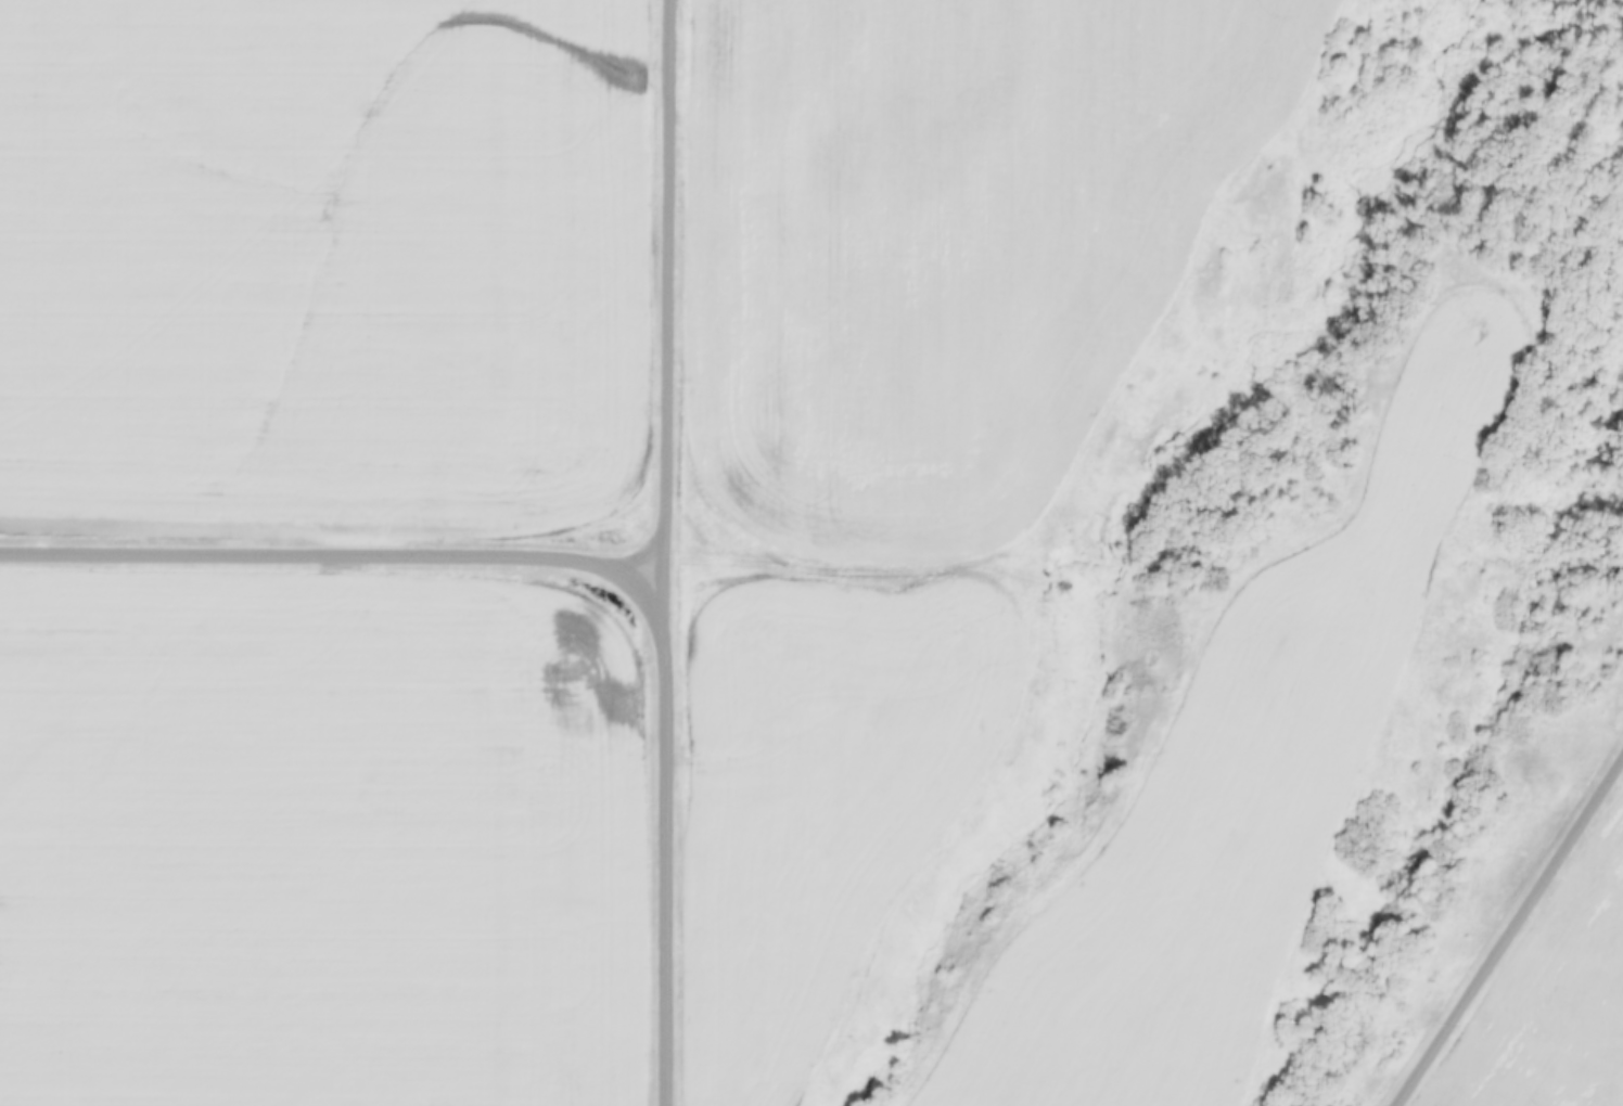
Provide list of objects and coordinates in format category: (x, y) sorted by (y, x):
road: (675, 279)
road: (334, 553)
road: (672, 831)
road: (1510, 933)

